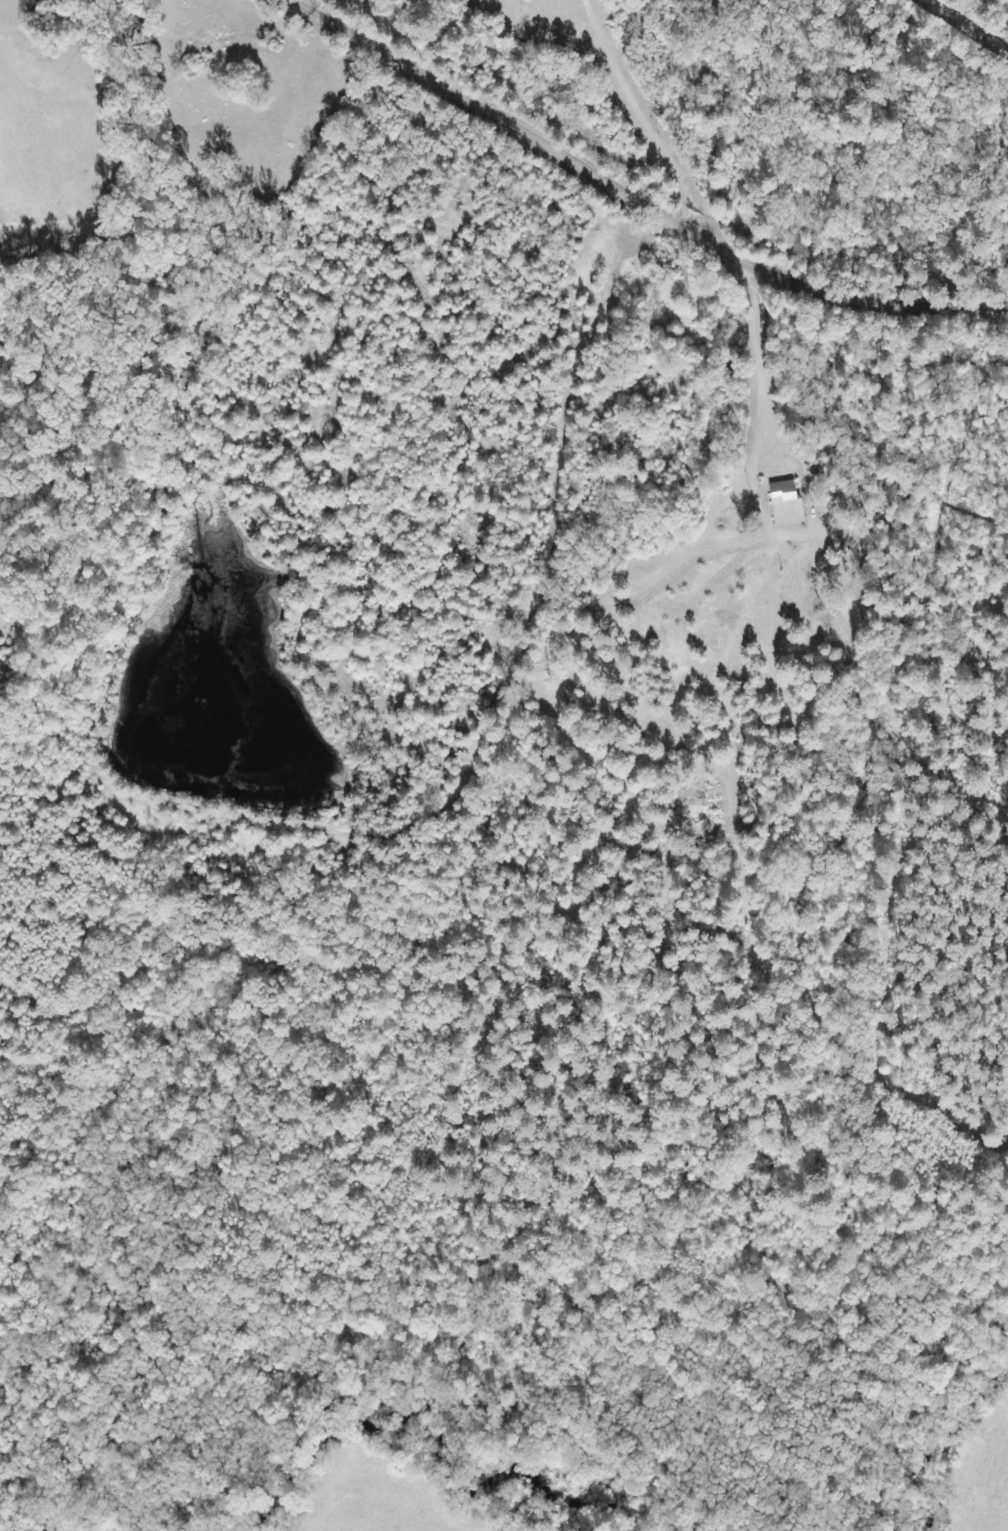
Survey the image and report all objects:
road: (603, 209)
road: (420, 459)
building: (782, 504)

